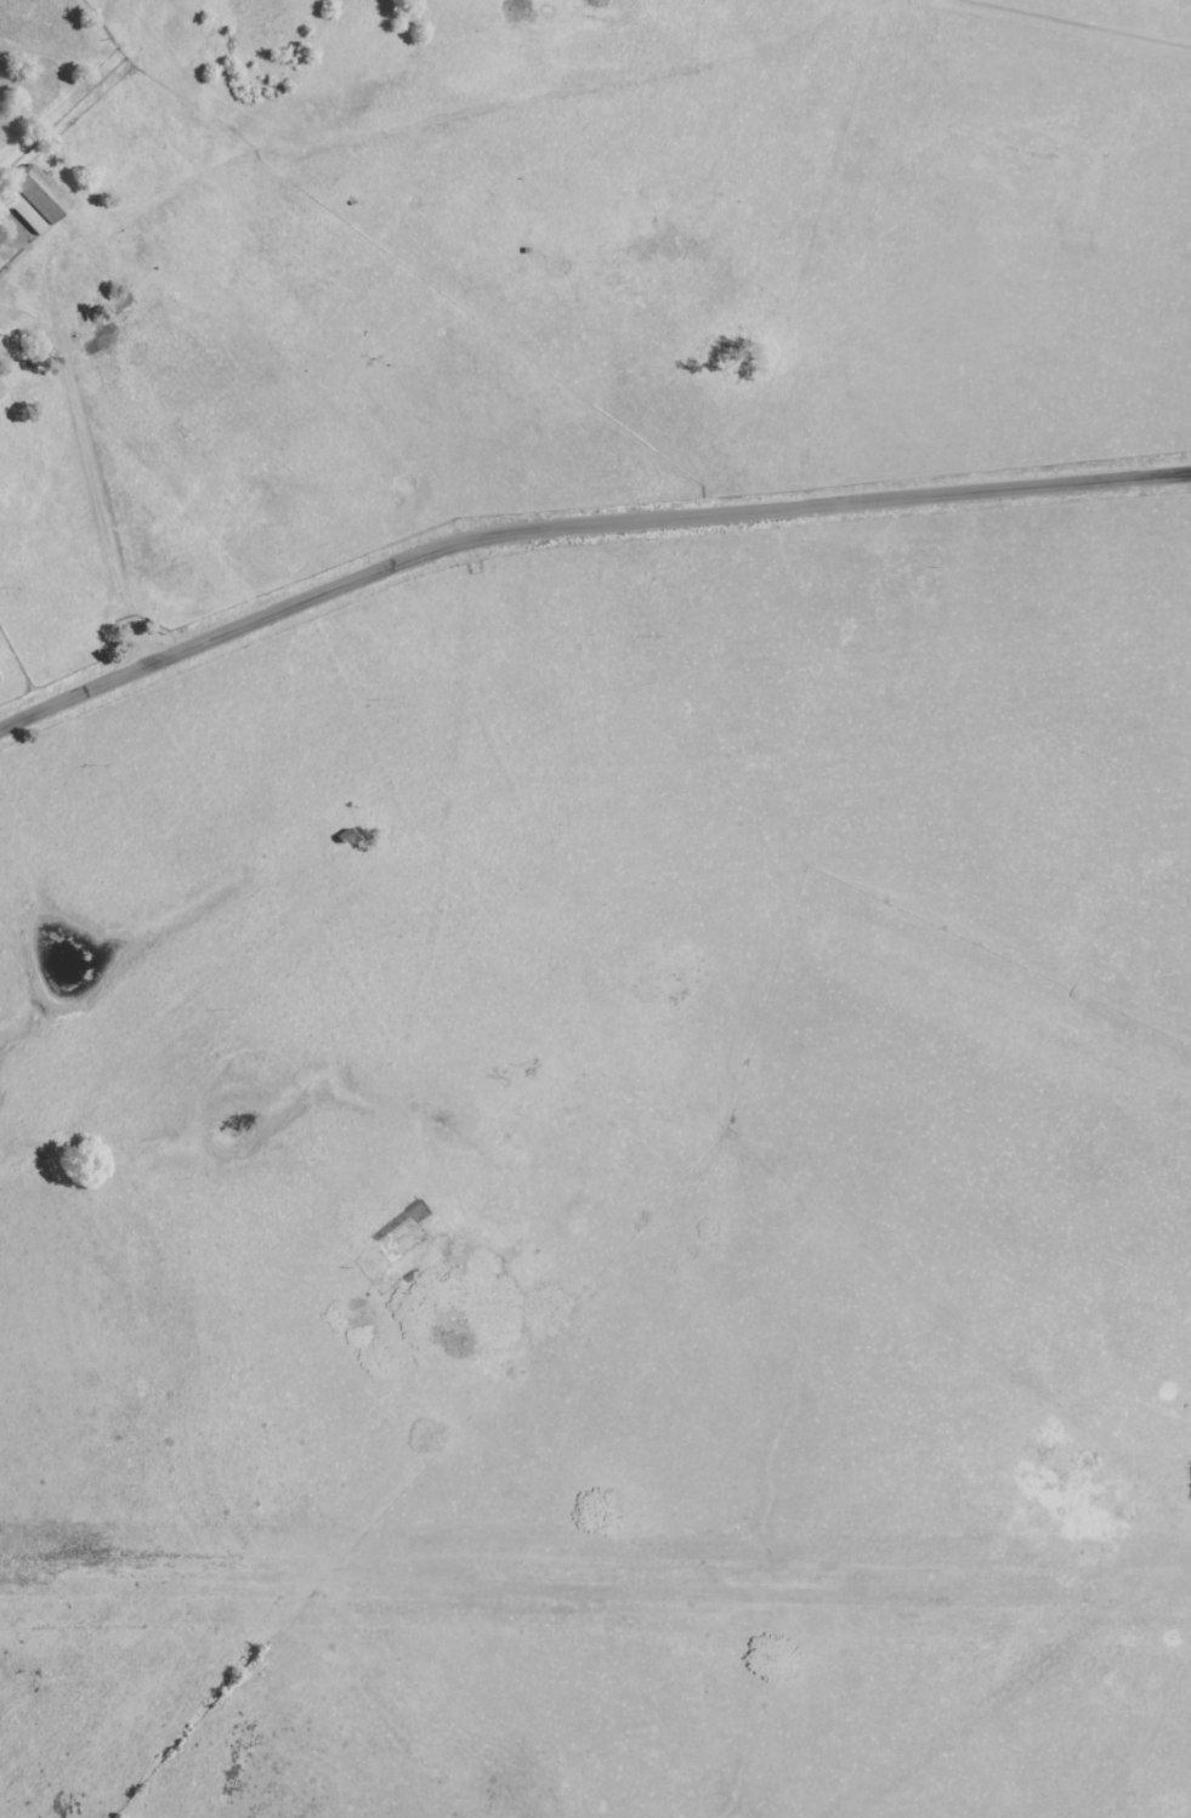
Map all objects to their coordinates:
building: (33, 199)
road: (85, 523)
road: (577, 529)

